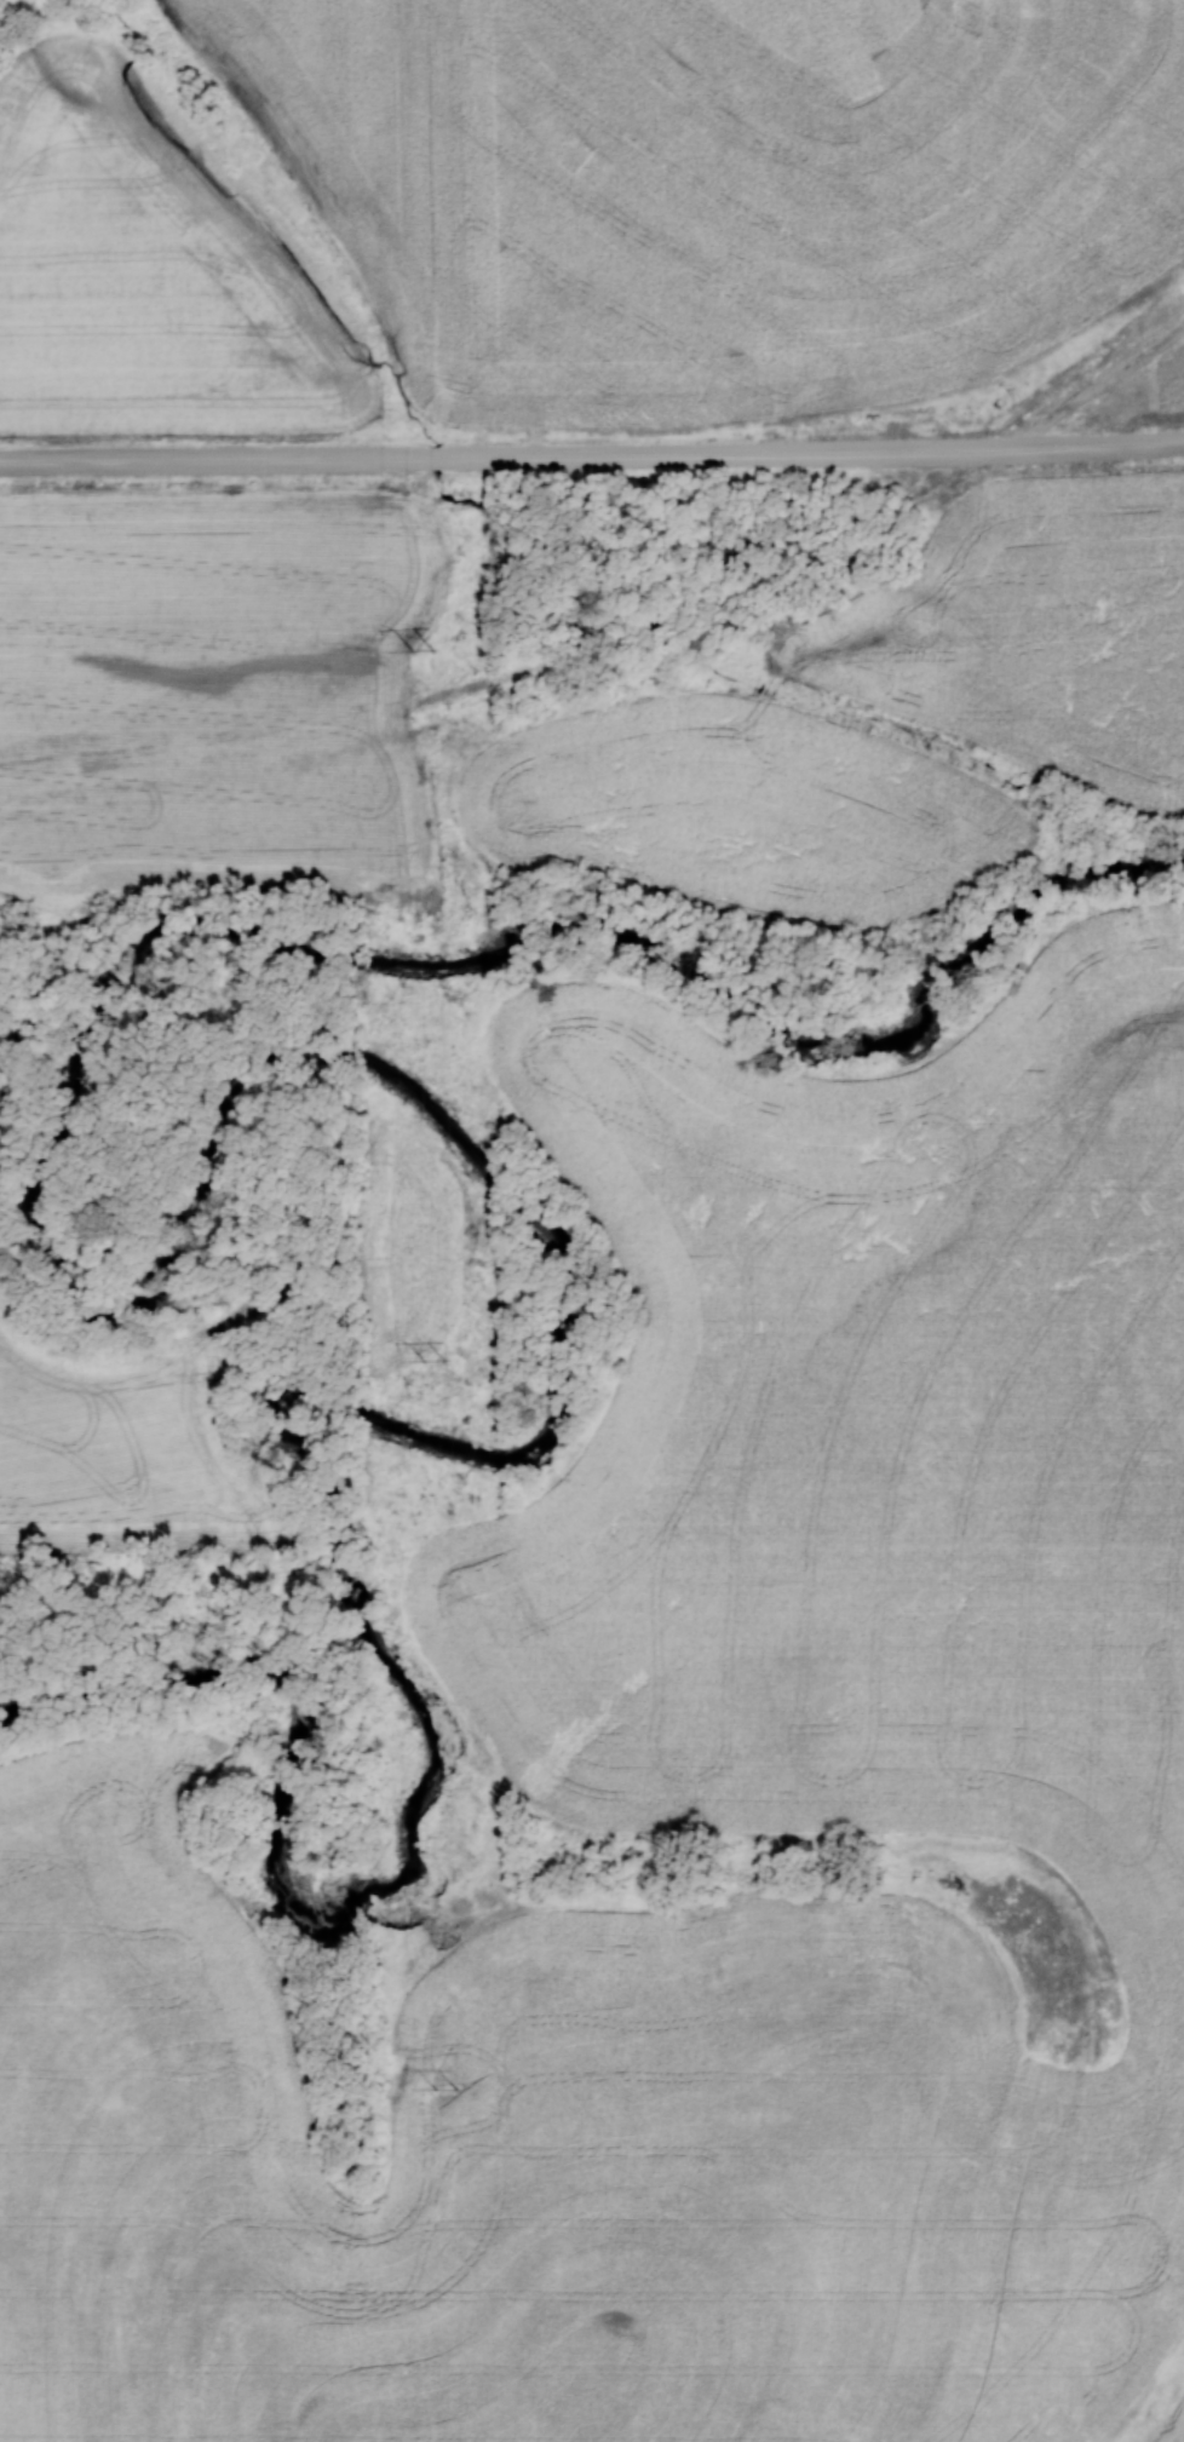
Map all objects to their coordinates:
road: (592, 453)
power tower: (419, 651)
river: (284, 1051)
power tower: (427, 1358)
power tower: (441, 2090)

